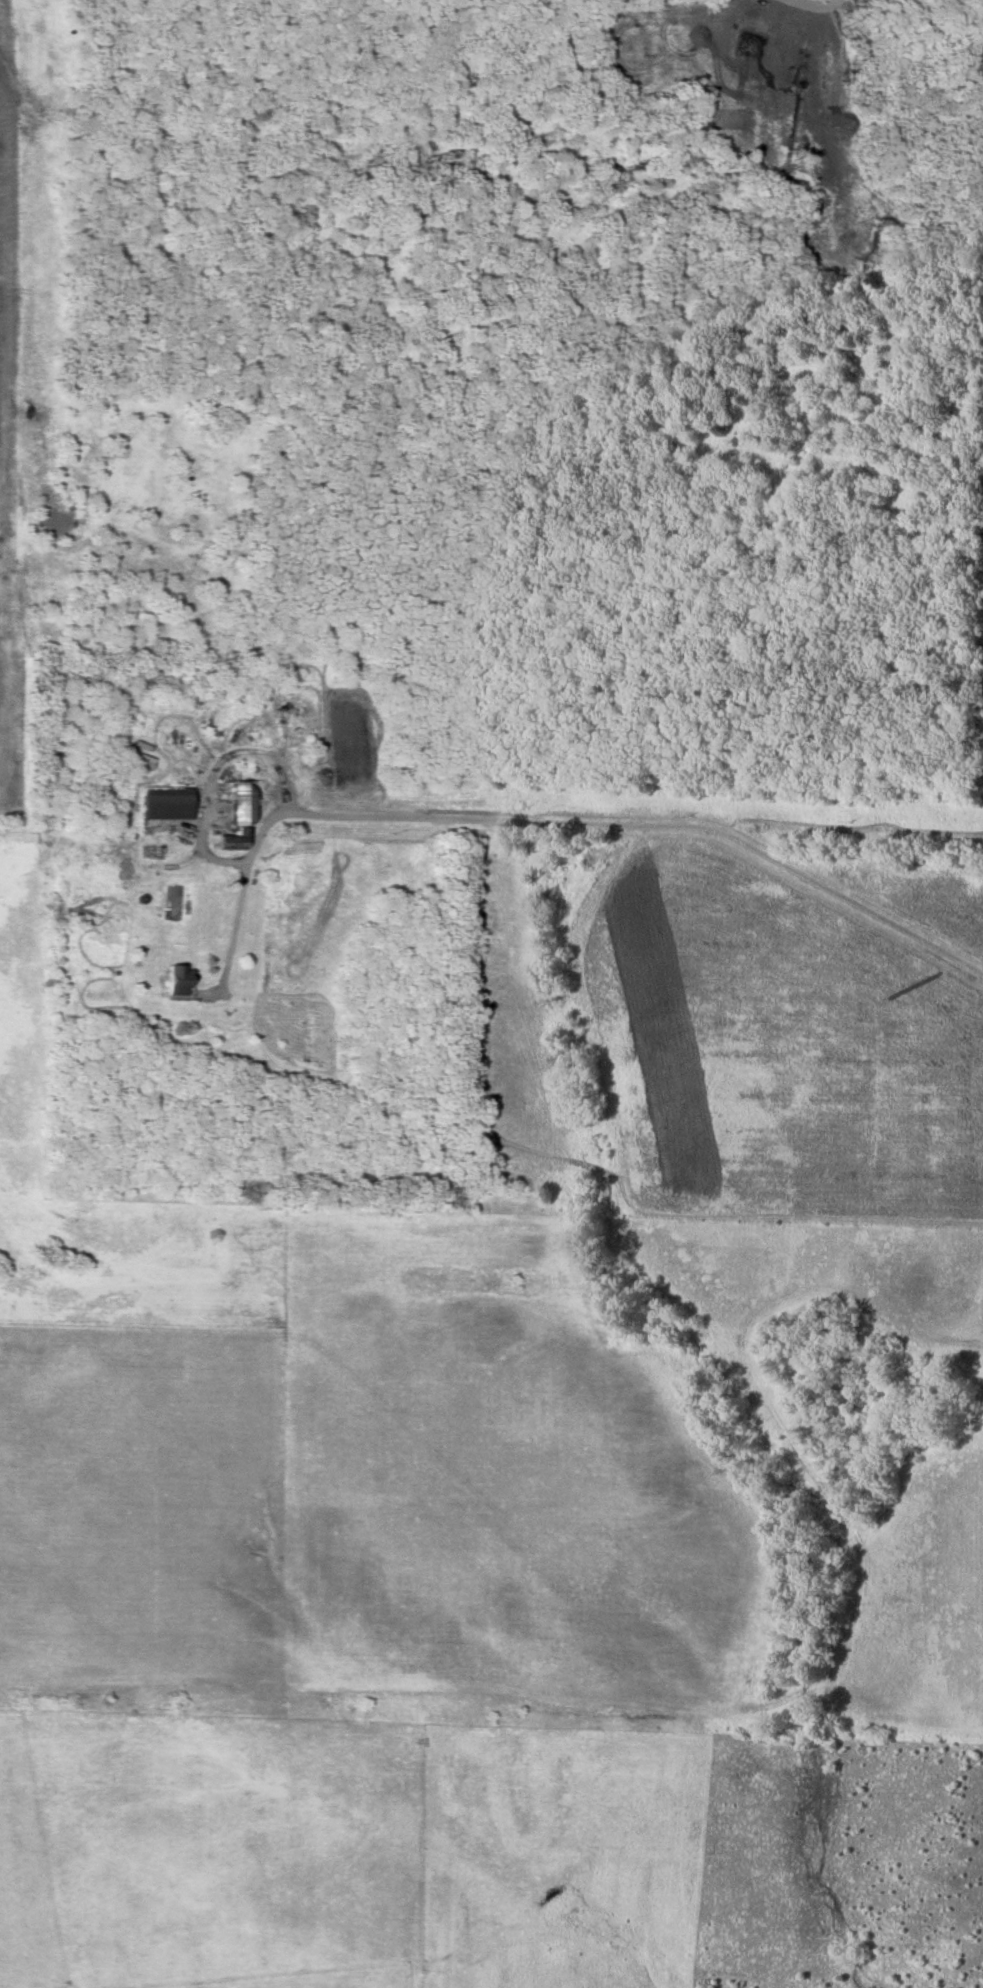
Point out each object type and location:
crop: (18, 752)
building: (159, 804)
building: (233, 805)
road: (557, 824)
building: (174, 980)

